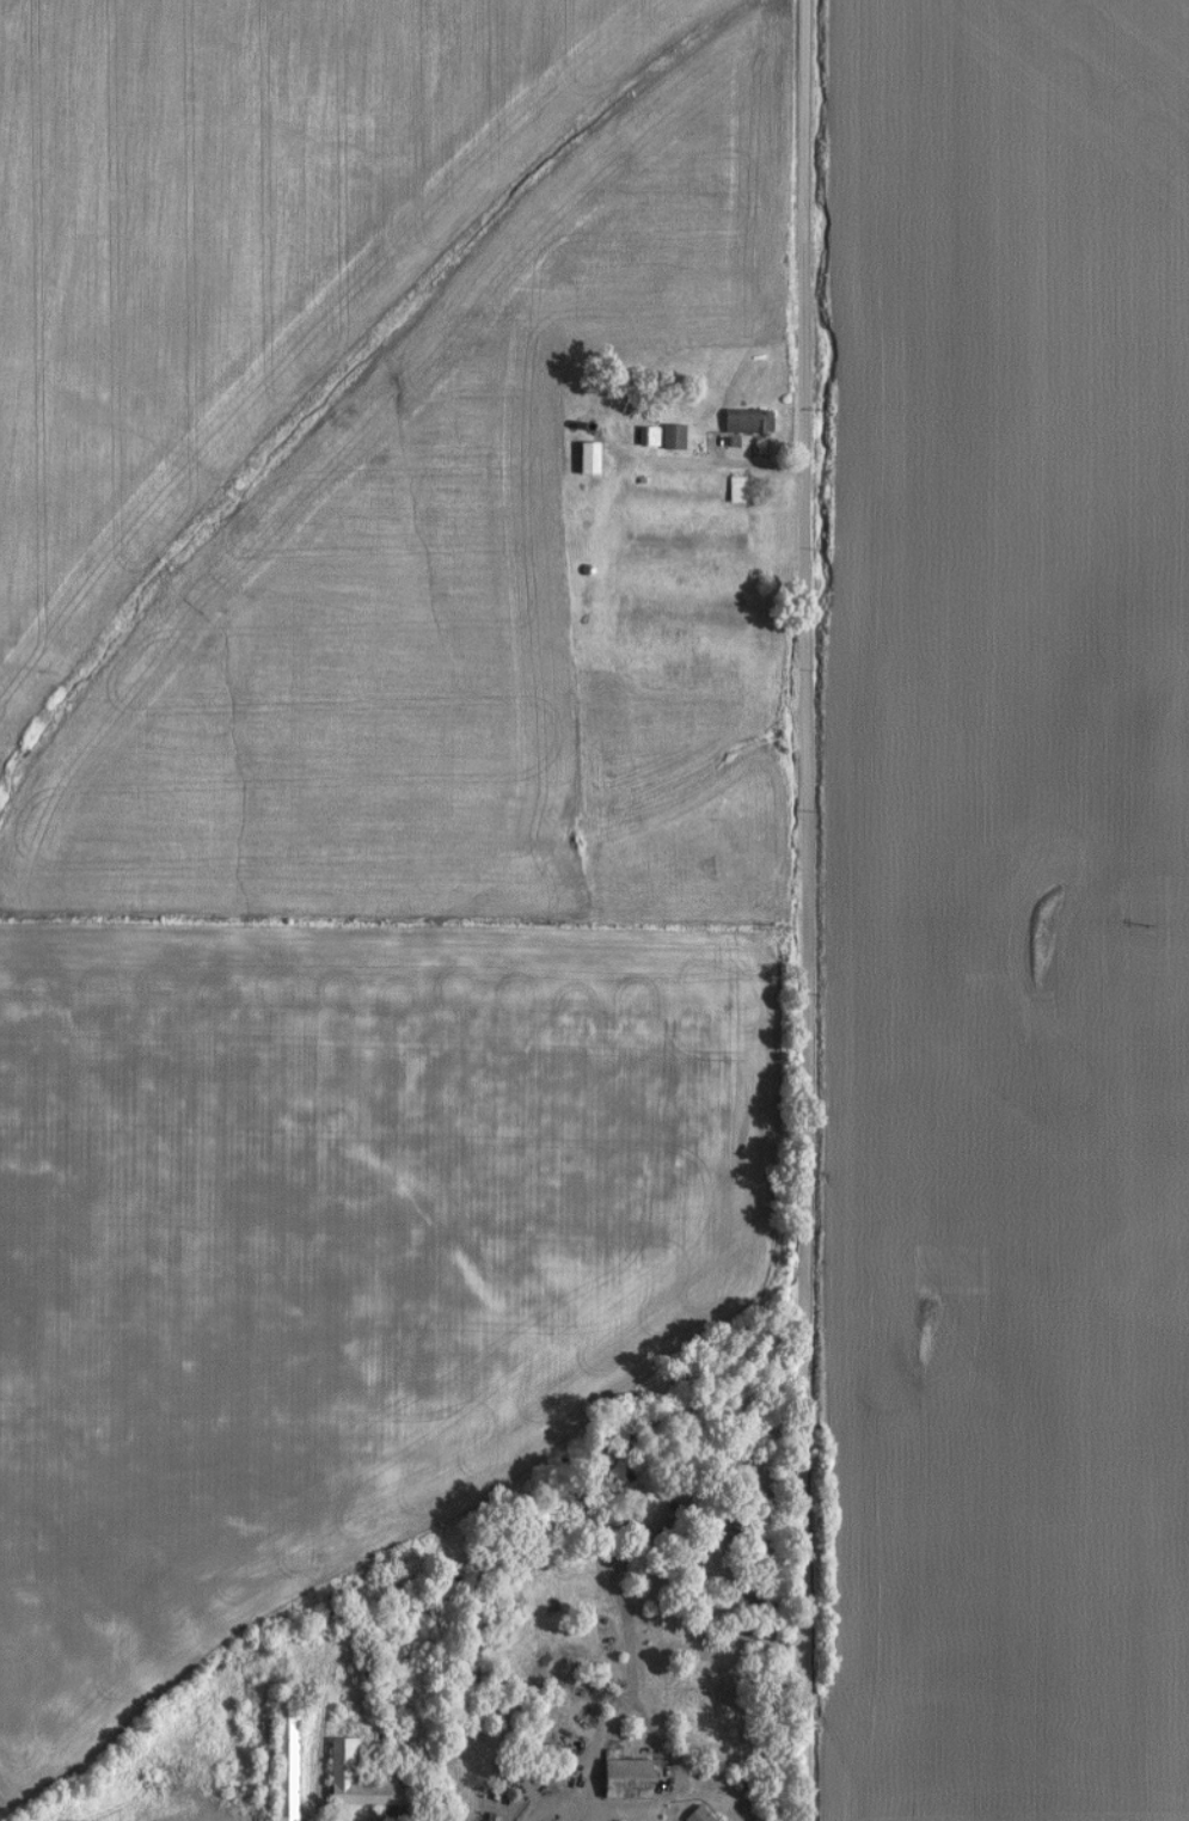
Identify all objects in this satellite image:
building: (738, 421)
building: (664, 436)
building: (580, 458)
road: (707, 462)
building: (729, 489)
road: (804, 909)
building: (278, 1765)
building: (615, 1778)
building: (356, 1788)
road: (592, 1809)
building: (690, 1815)

